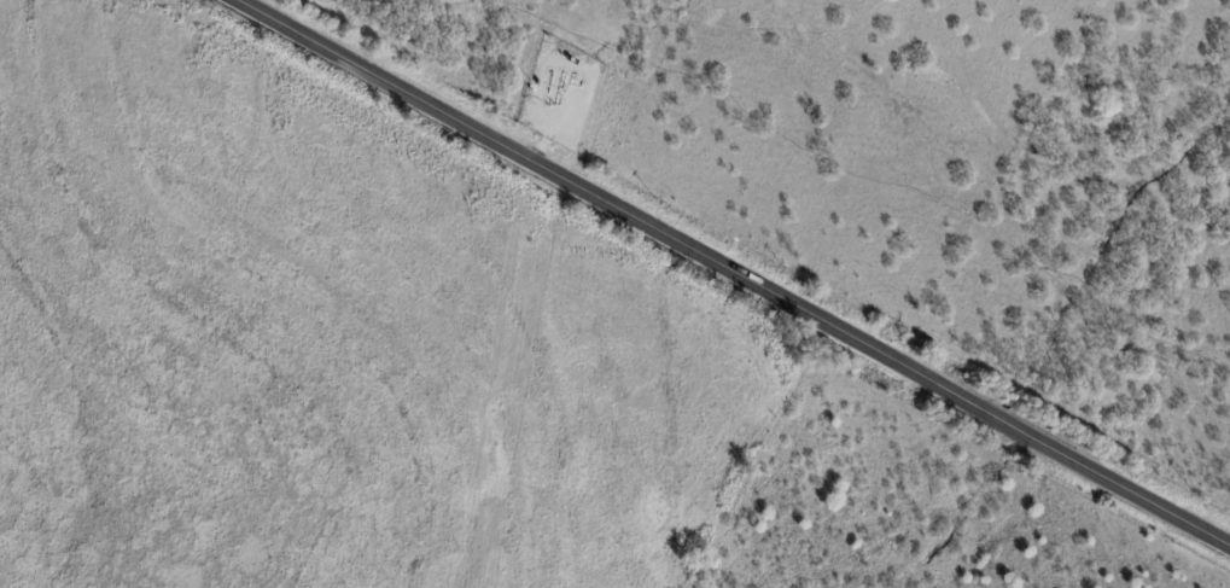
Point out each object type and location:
road: (730, 273)

